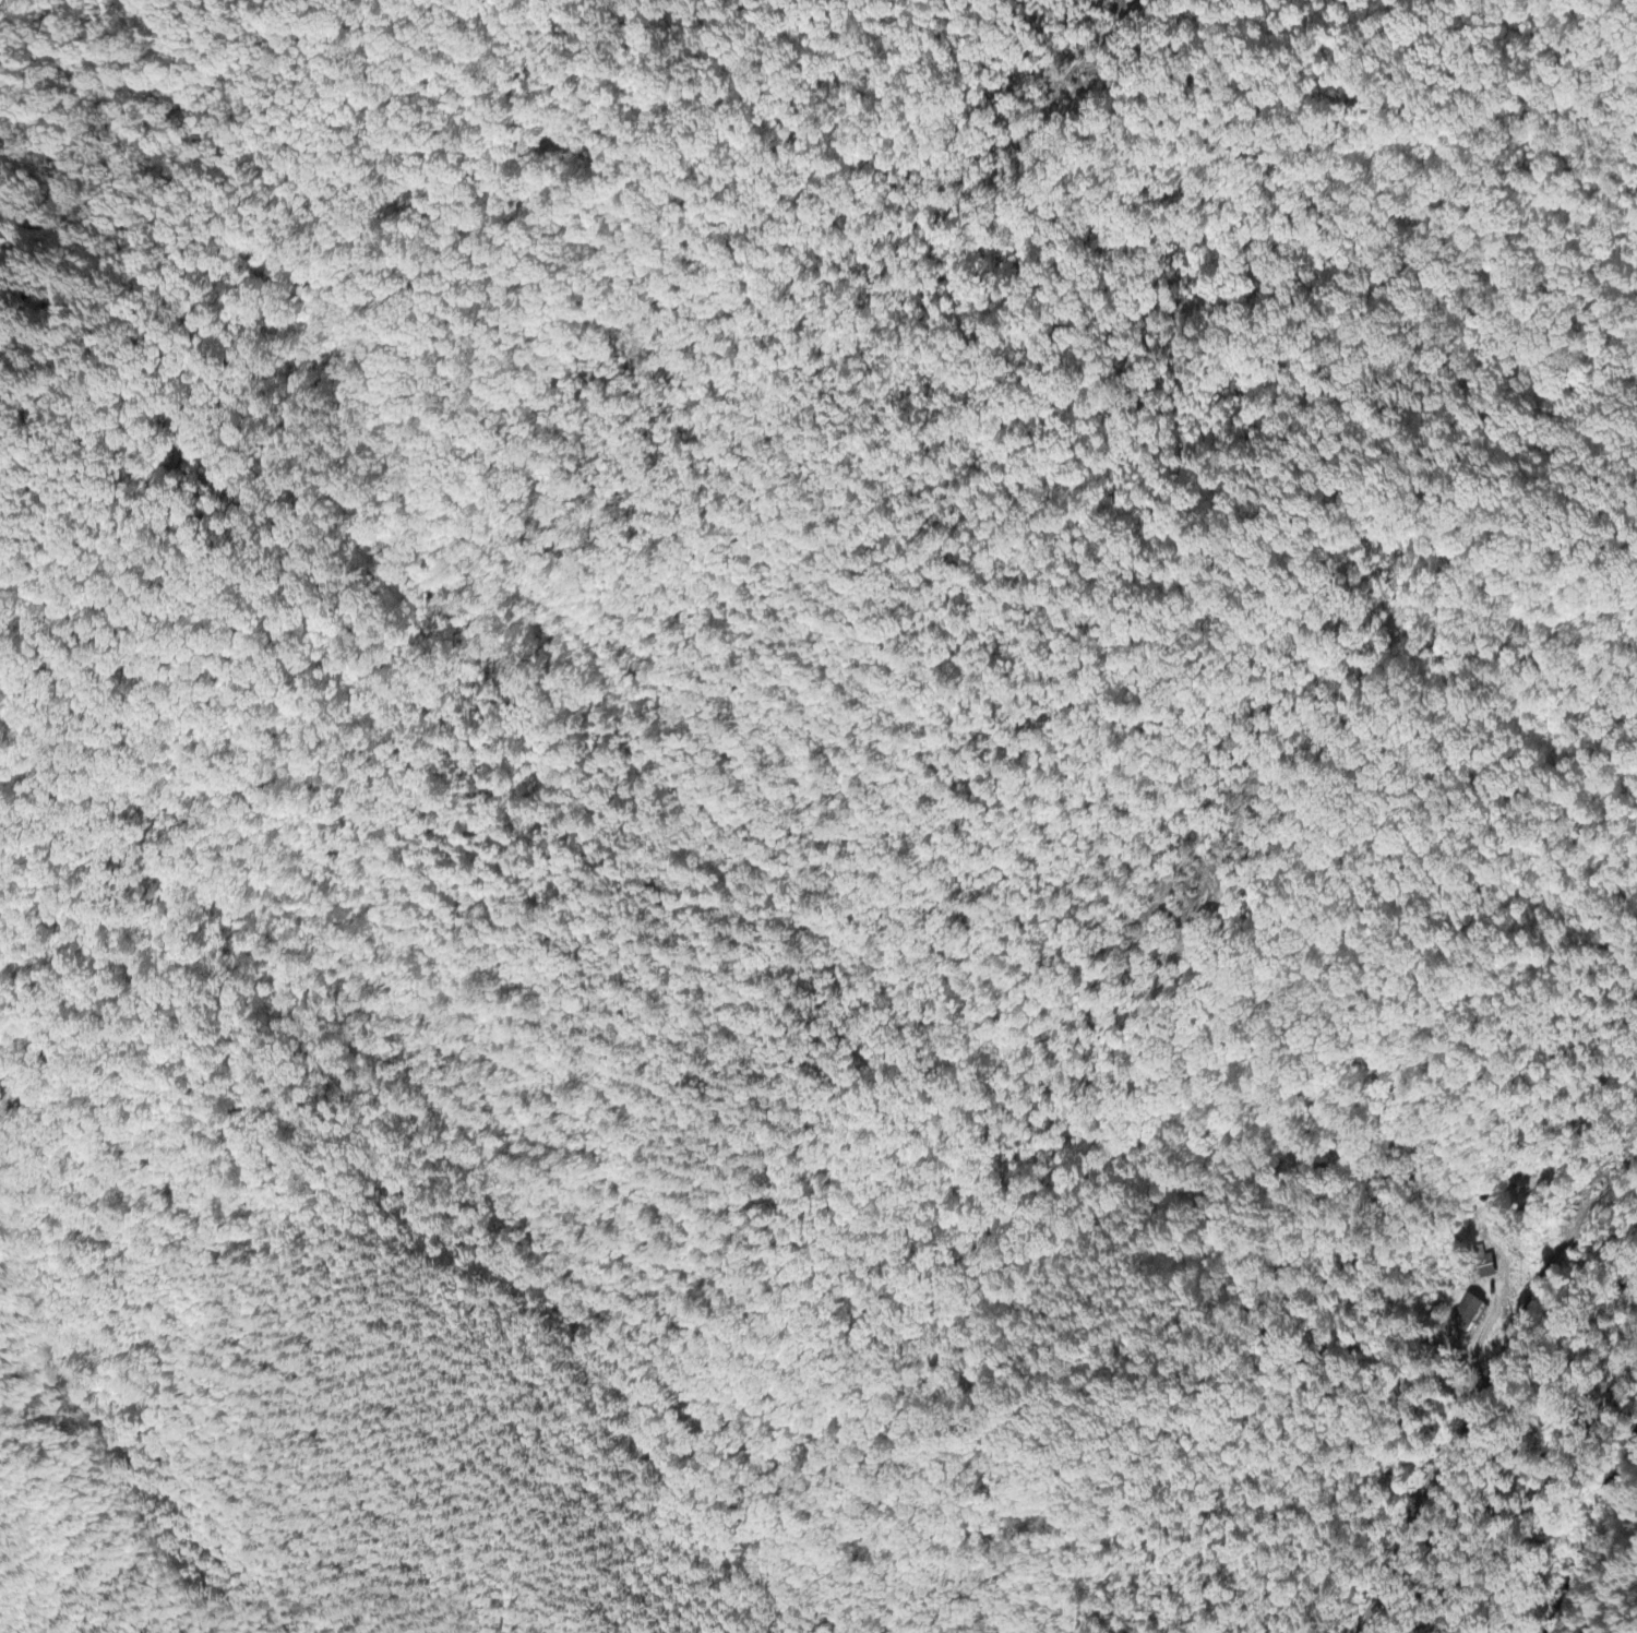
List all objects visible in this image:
building: (1471, 1311)
road: (1487, 1385)

